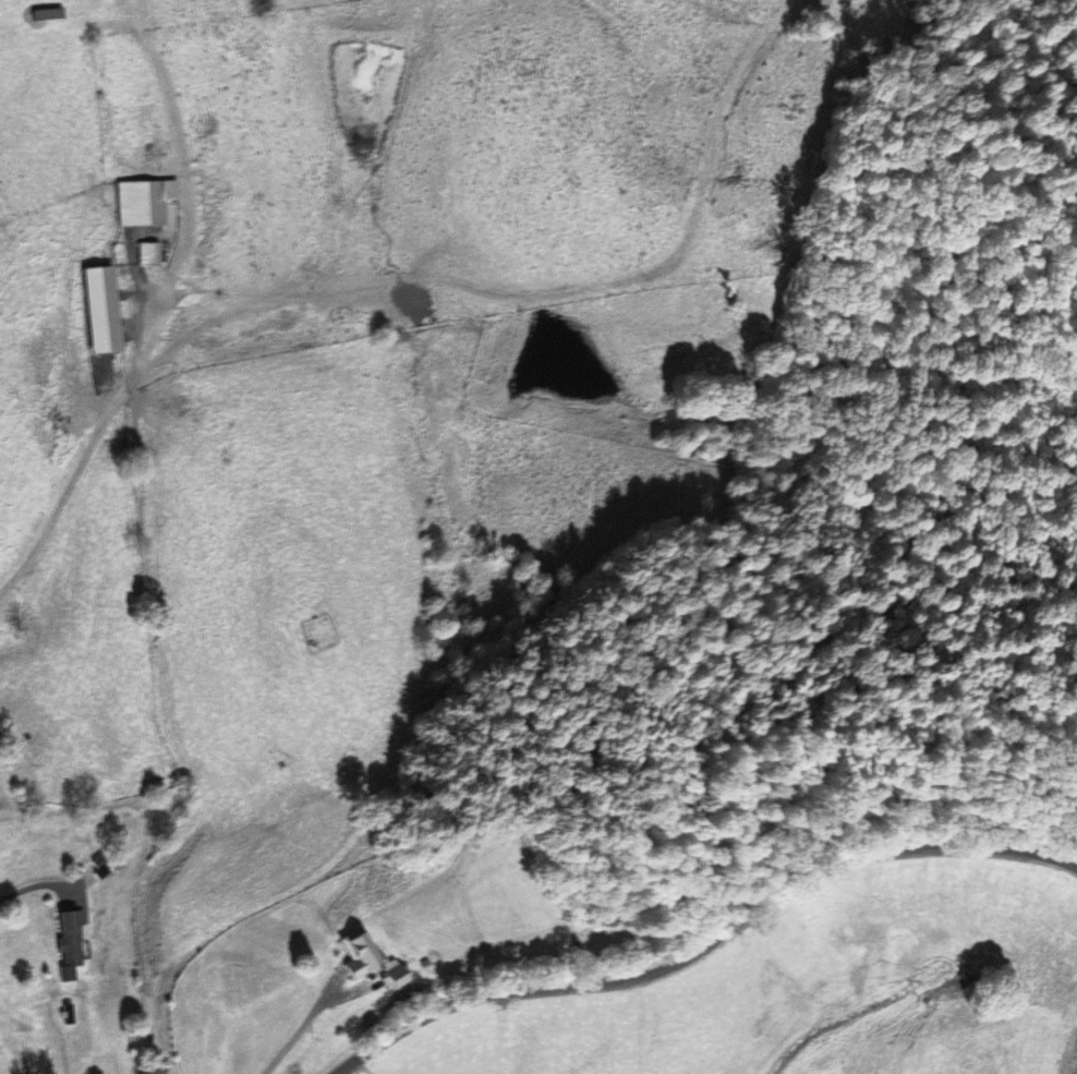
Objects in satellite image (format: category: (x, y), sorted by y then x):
building: (43, 10)
building: (155, 194)
building: (146, 250)
road: (276, 299)
road: (7, 798)
road: (34, 882)
building: (66, 940)
road: (705, 942)
building: (353, 951)
road: (299, 1028)

